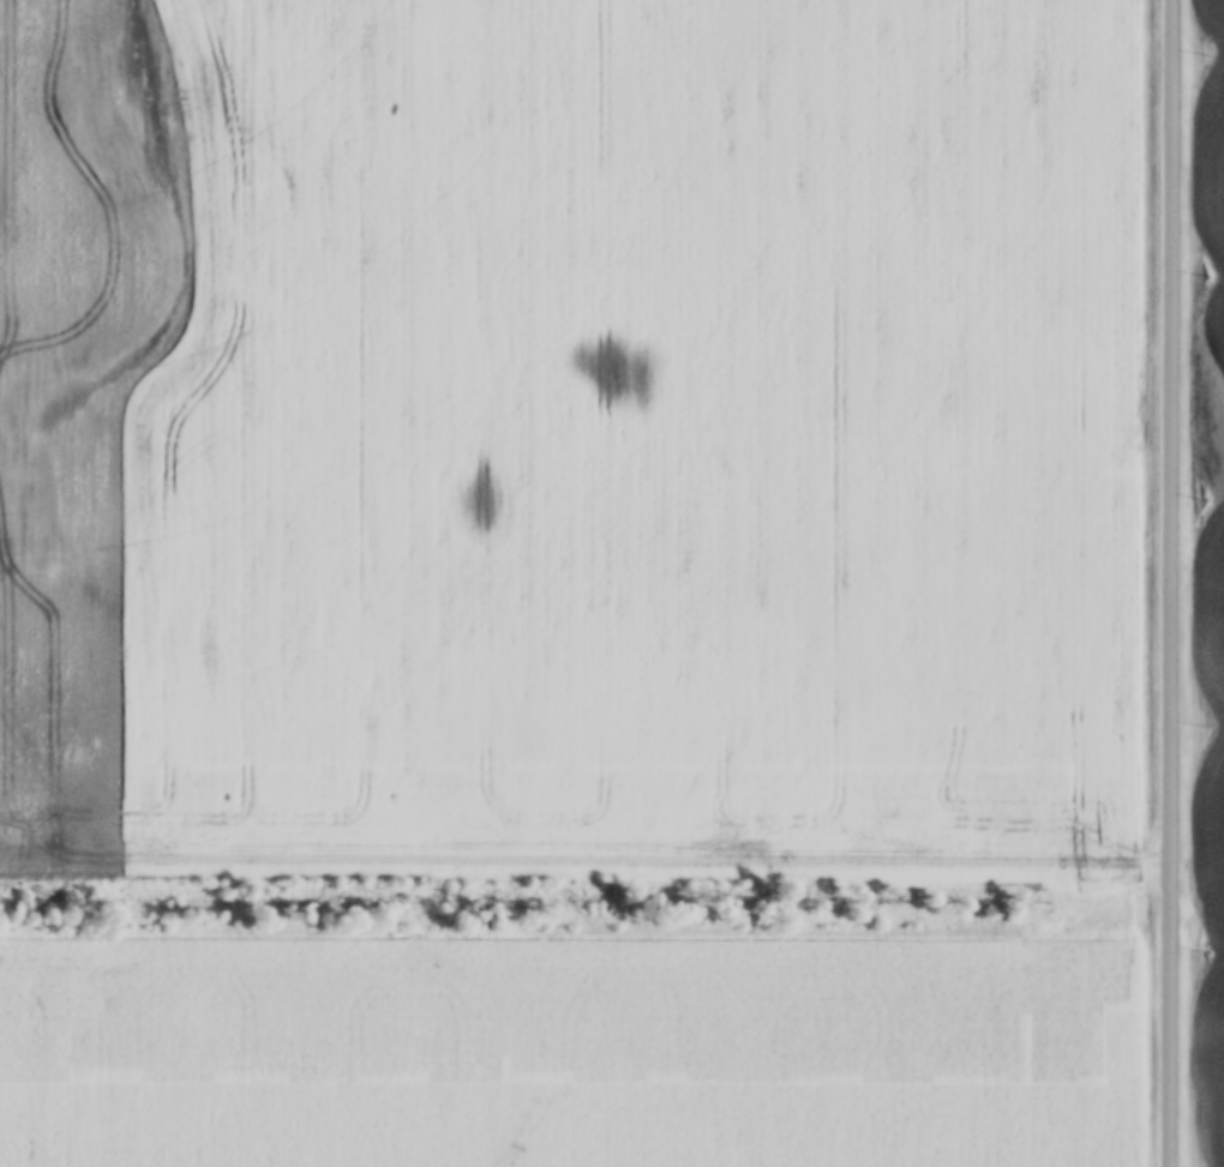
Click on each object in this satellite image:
road: (1171, 583)

